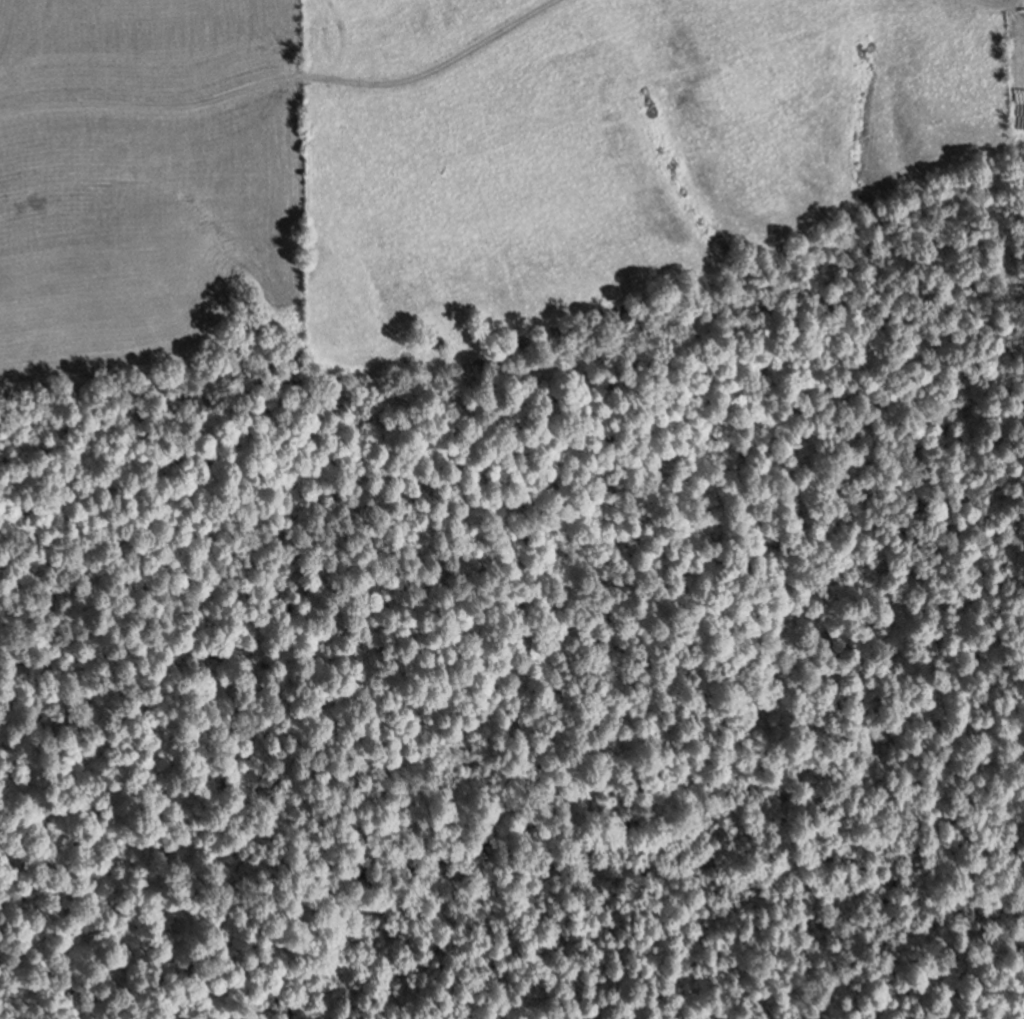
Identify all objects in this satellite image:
road: (518, 264)

